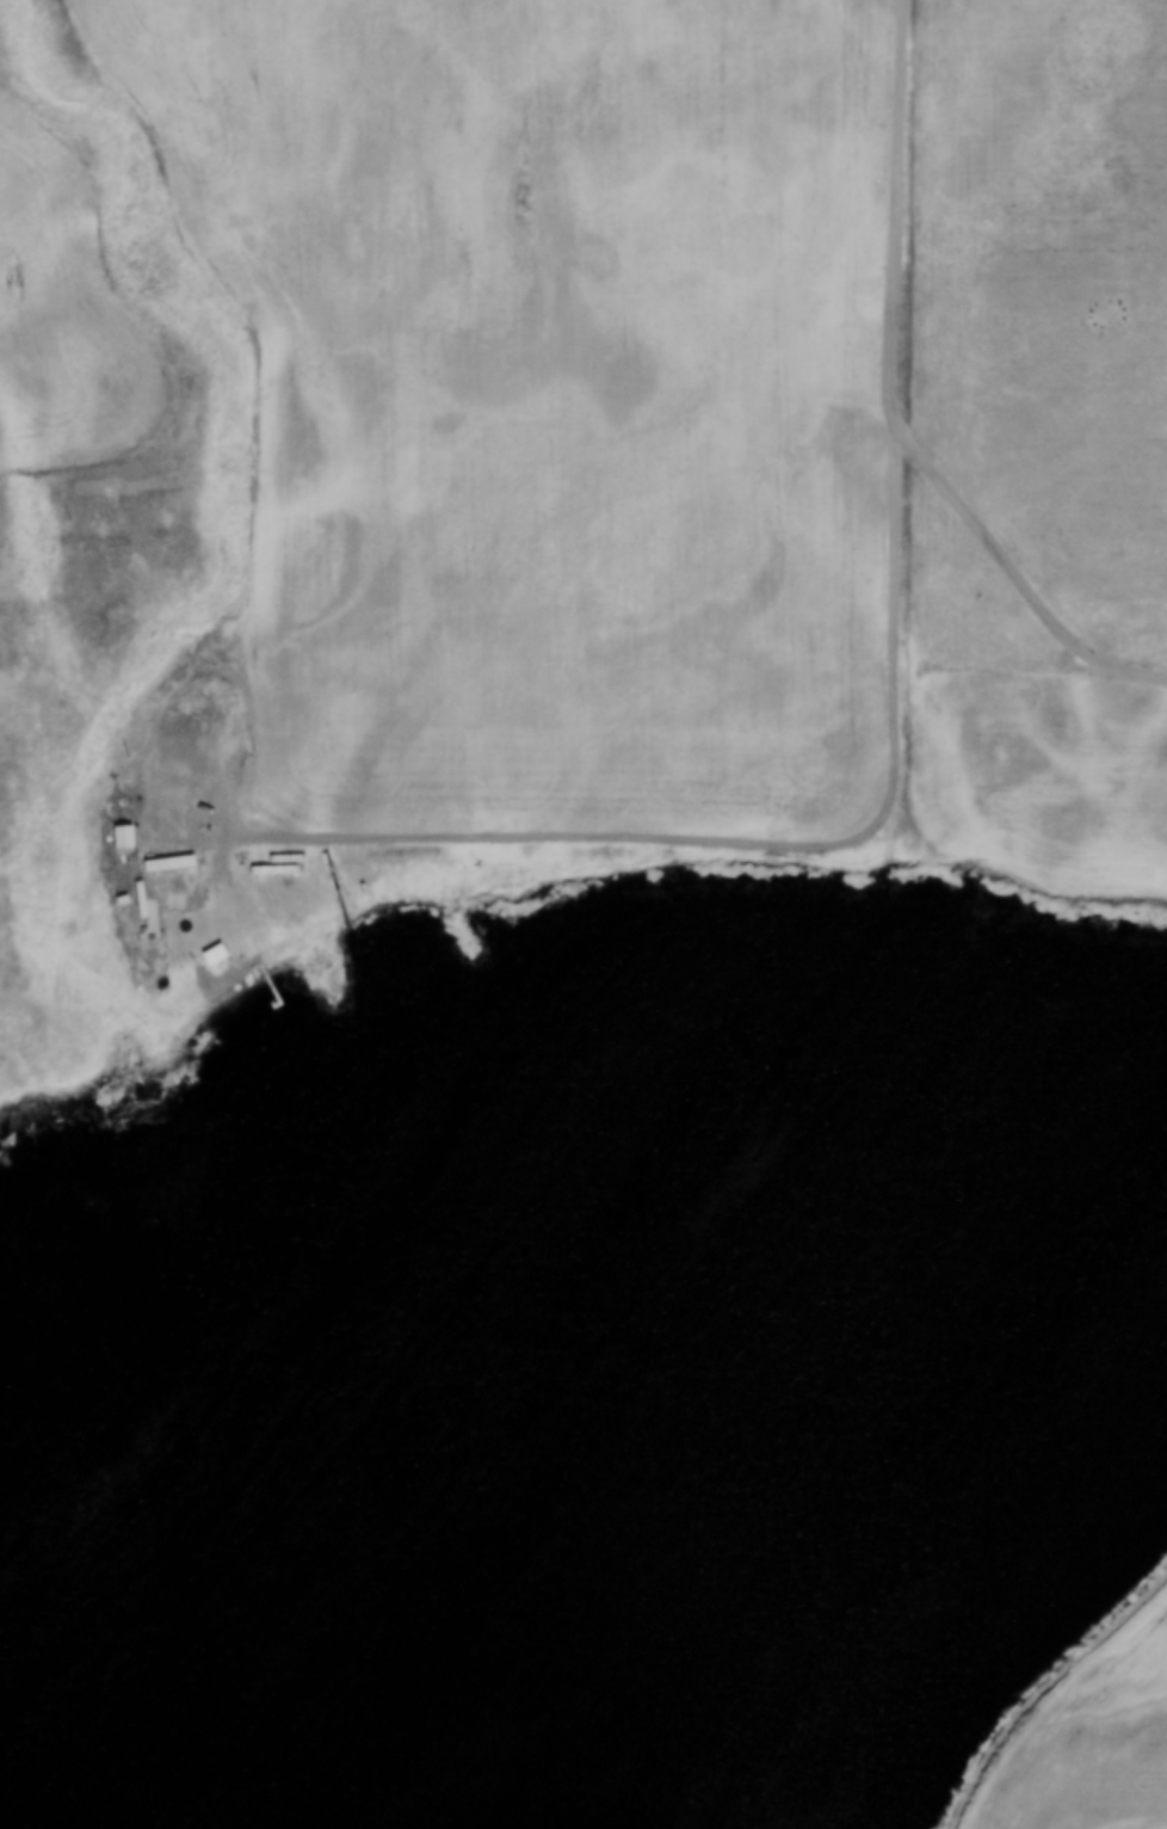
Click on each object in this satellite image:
road: (897, 401)

